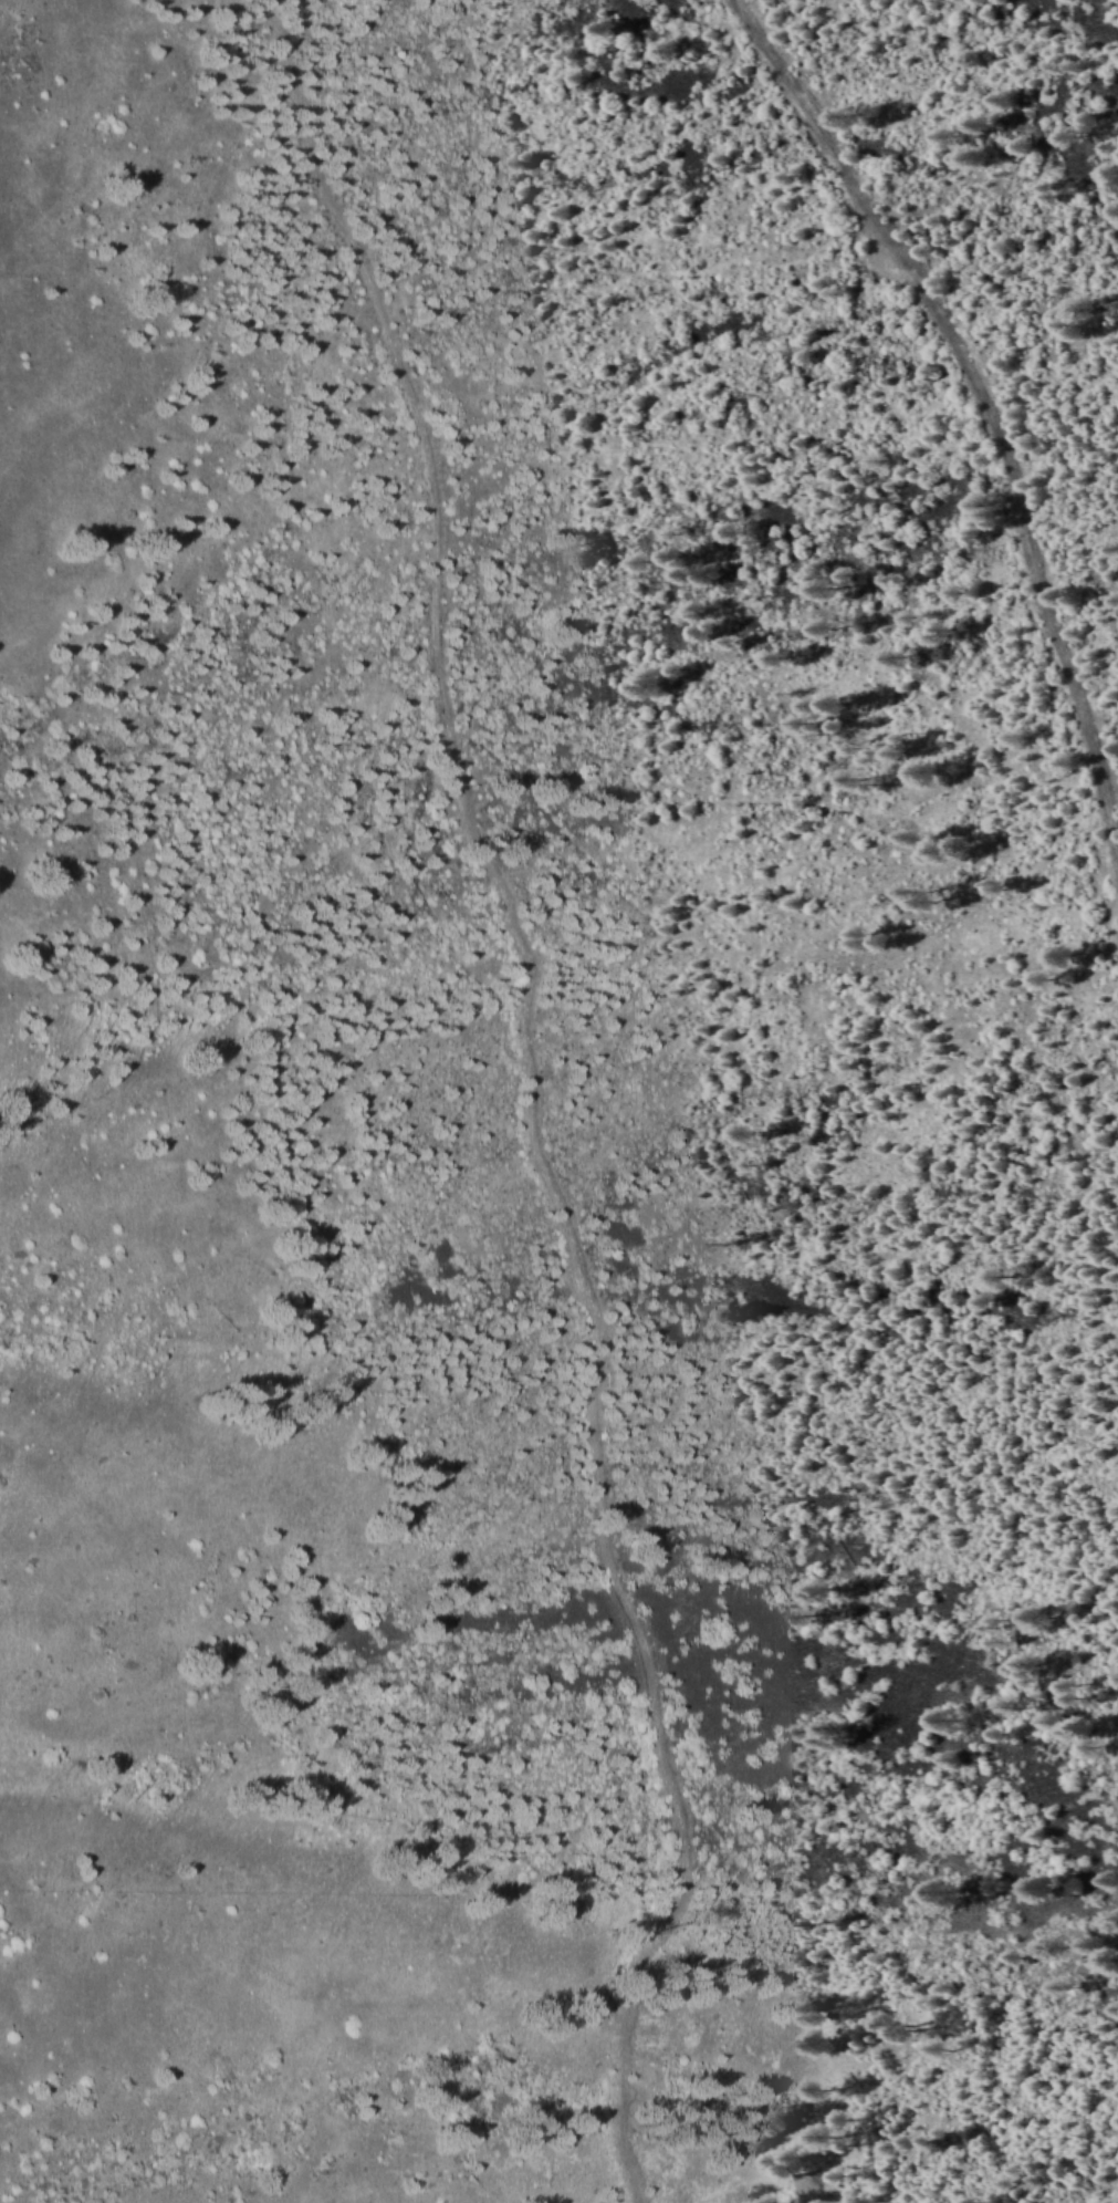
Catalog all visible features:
road: (968, 425)
building: (818, 2185)

